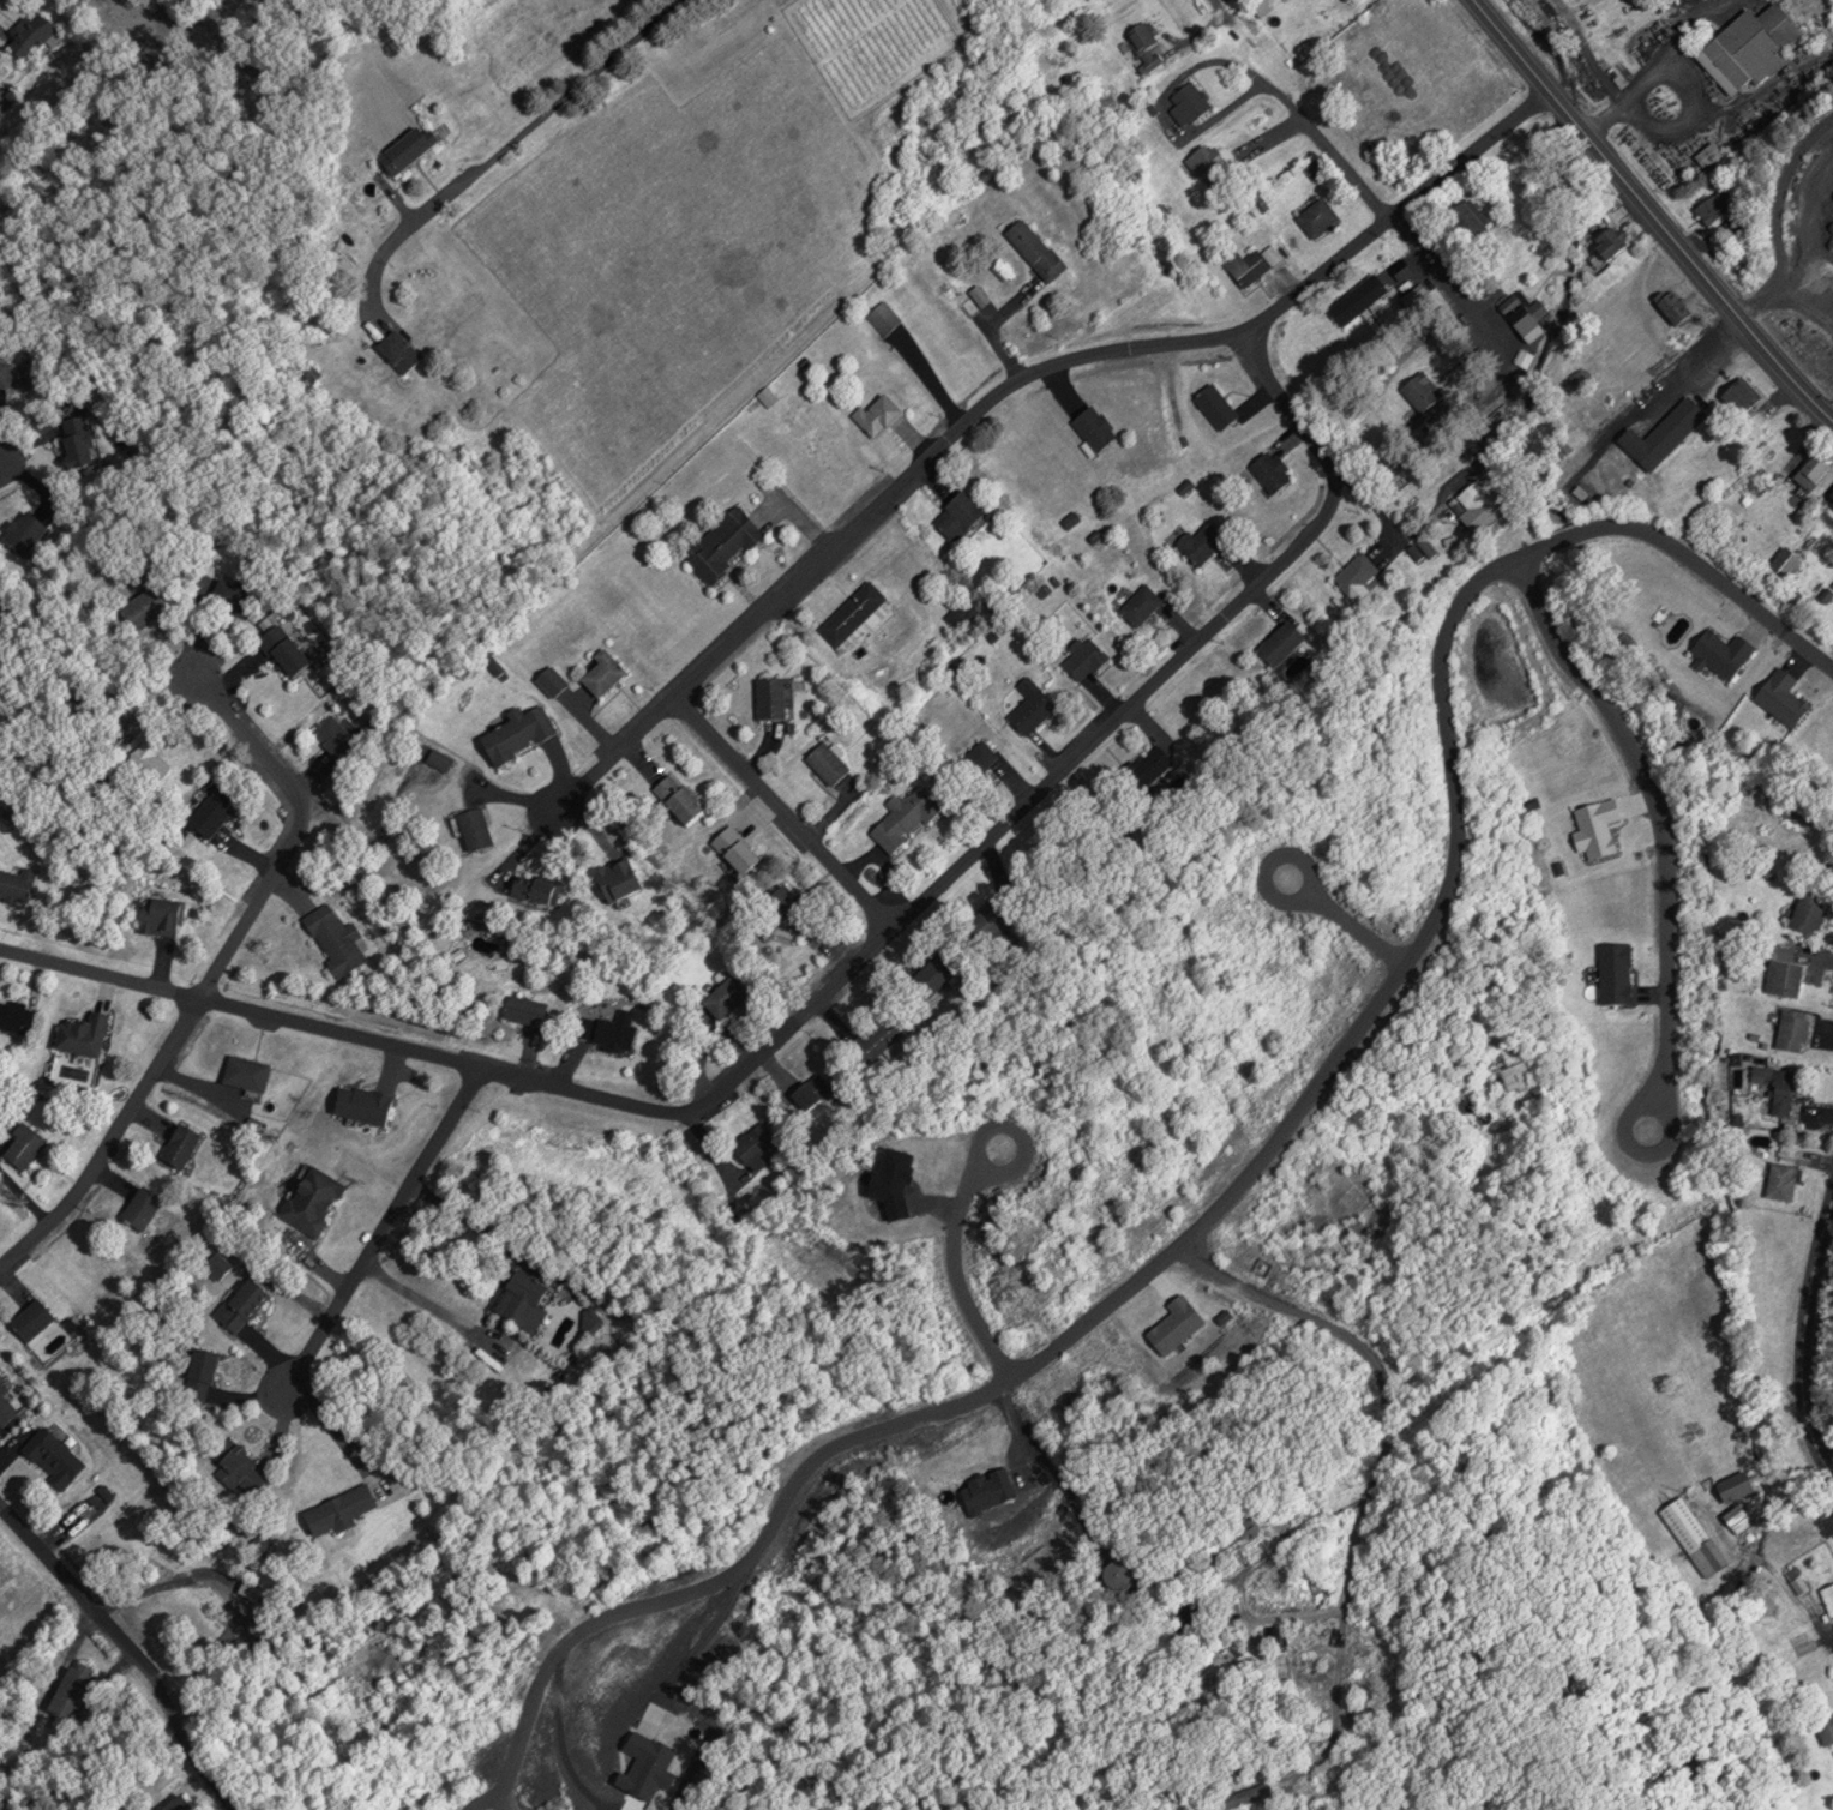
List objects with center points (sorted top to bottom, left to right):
building: (1348, 1)
road: (1215, 4)
building: (31, 34)
building: (1148, 43)
building: (1751, 47)
building: (1190, 101)
road: (497, 145)
building: (405, 150)
building: (1708, 152)
building: (1209, 164)
building: (1714, 206)
road: (1649, 212)
building: (1318, 217)
building: (1471, 220)
building: (1612, 245)
building: (1039, 249)
building: (1254, 264)
building: (1514, 303)
building: (1673, 306)
building: (1359, 307)
building: (884, 317)
building: (401, 350)
building: (13, 375)
road: (1017, 379)
building: (1423, 391)
building: (1743, 397)
road: (1293, 402)
building: (1219, 407)
building: (878, 414)
building: (1098, 428)
building: (1670, 432)
building: (79, 444)
building: (1273, 470)
building: (1815, 470)
road: (1334, 483)
building: (1832, 492)
building: (1486, 510)
building: (962, 516)
building: (24, 533)
building: (1204, 541)
building: (725, 543)
building: (1786, 561)
building: (1358, 572)
building: (234, 596)
building: (1144, 602)
building: (148, 608)
building: (963, 613)
building: (857, 614)
building: (1284, 642)
building: (288, 653)
building: (1089, 656)
building: (605, 673)
building: (774, 697)
building: (1035, 704)
building: (336, 736)
building: (518, 736)
building: (440, 759)
building: (830, 762)
building: (681, 798)
road: (782, 811)
building: (212, 816)
building: (905, 817)
road: (1657, 822)
building: (476, 828)
building: (739, 848)
building: (619, 879)
building: (17, 884)
building: (535, 888)
building: (794, 907)
building: (1810, 910)
building: (163, 916)
building: (990, 920)
building: (337, 937)
building: (936, 973)
building: (1784, 975)
road: (208, 979)
building: (726, 996)
building: (529, 1008)
building: (17, 1016)
building: (1795, 1029)
building: (617, 1030)
building: (85, 1033)
building: (876, 1035)
road: (758, 1048)
building: (248, 1071)
building: (1522, 1076)
building: (812, 1090)
building: (1780, 1090)
building: (366, 1104)
building: (181, 1144)
building: (757, 1144)
building: (25, 1145)
road: (1257, 1151)
building: (1783, 1179)
building: (315, 1199)
building: (143, 1208)
road: (379, 1225)
road: (952, 1259)
building: (220, 1265)
building: (525, 1299)
building: (246, 1304)
building: (34, 1317)
road: (1803, 1340)
building: (205, 1372)
building: (7, 1403)
building: (53, 1455)
building: (240, 1468)
building: (1738, 1484)
building: (341, 1508)
building: (1739, 1516)
building: (1249, 1527)
building: (1695, 1535)
building: (1118, 1574)
road: (72, 1581)
building: (1269, 1594)
building: (1828, 1596)
building: (72, 1692)
building: (1825, 1727)
building: (1244, 1796)
building: (179, 1803)

